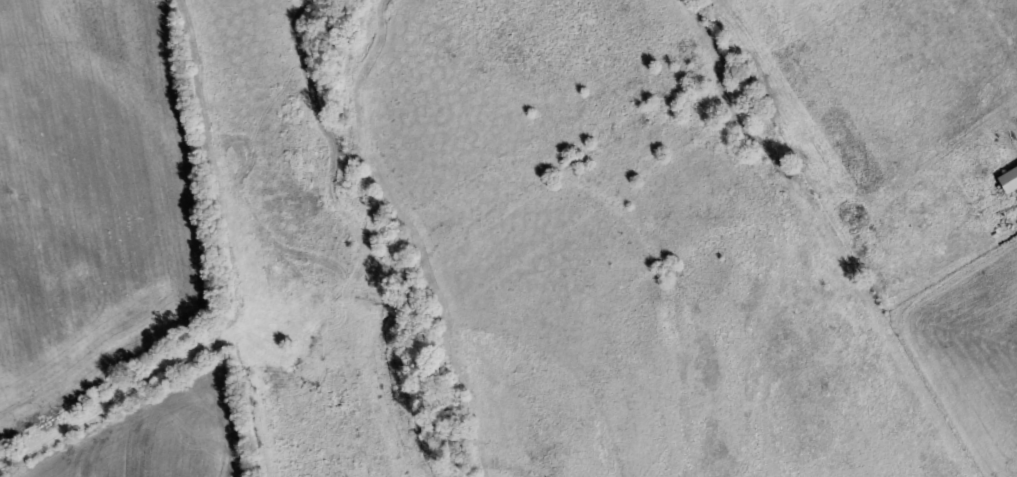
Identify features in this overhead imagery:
building: (1006, 178)

